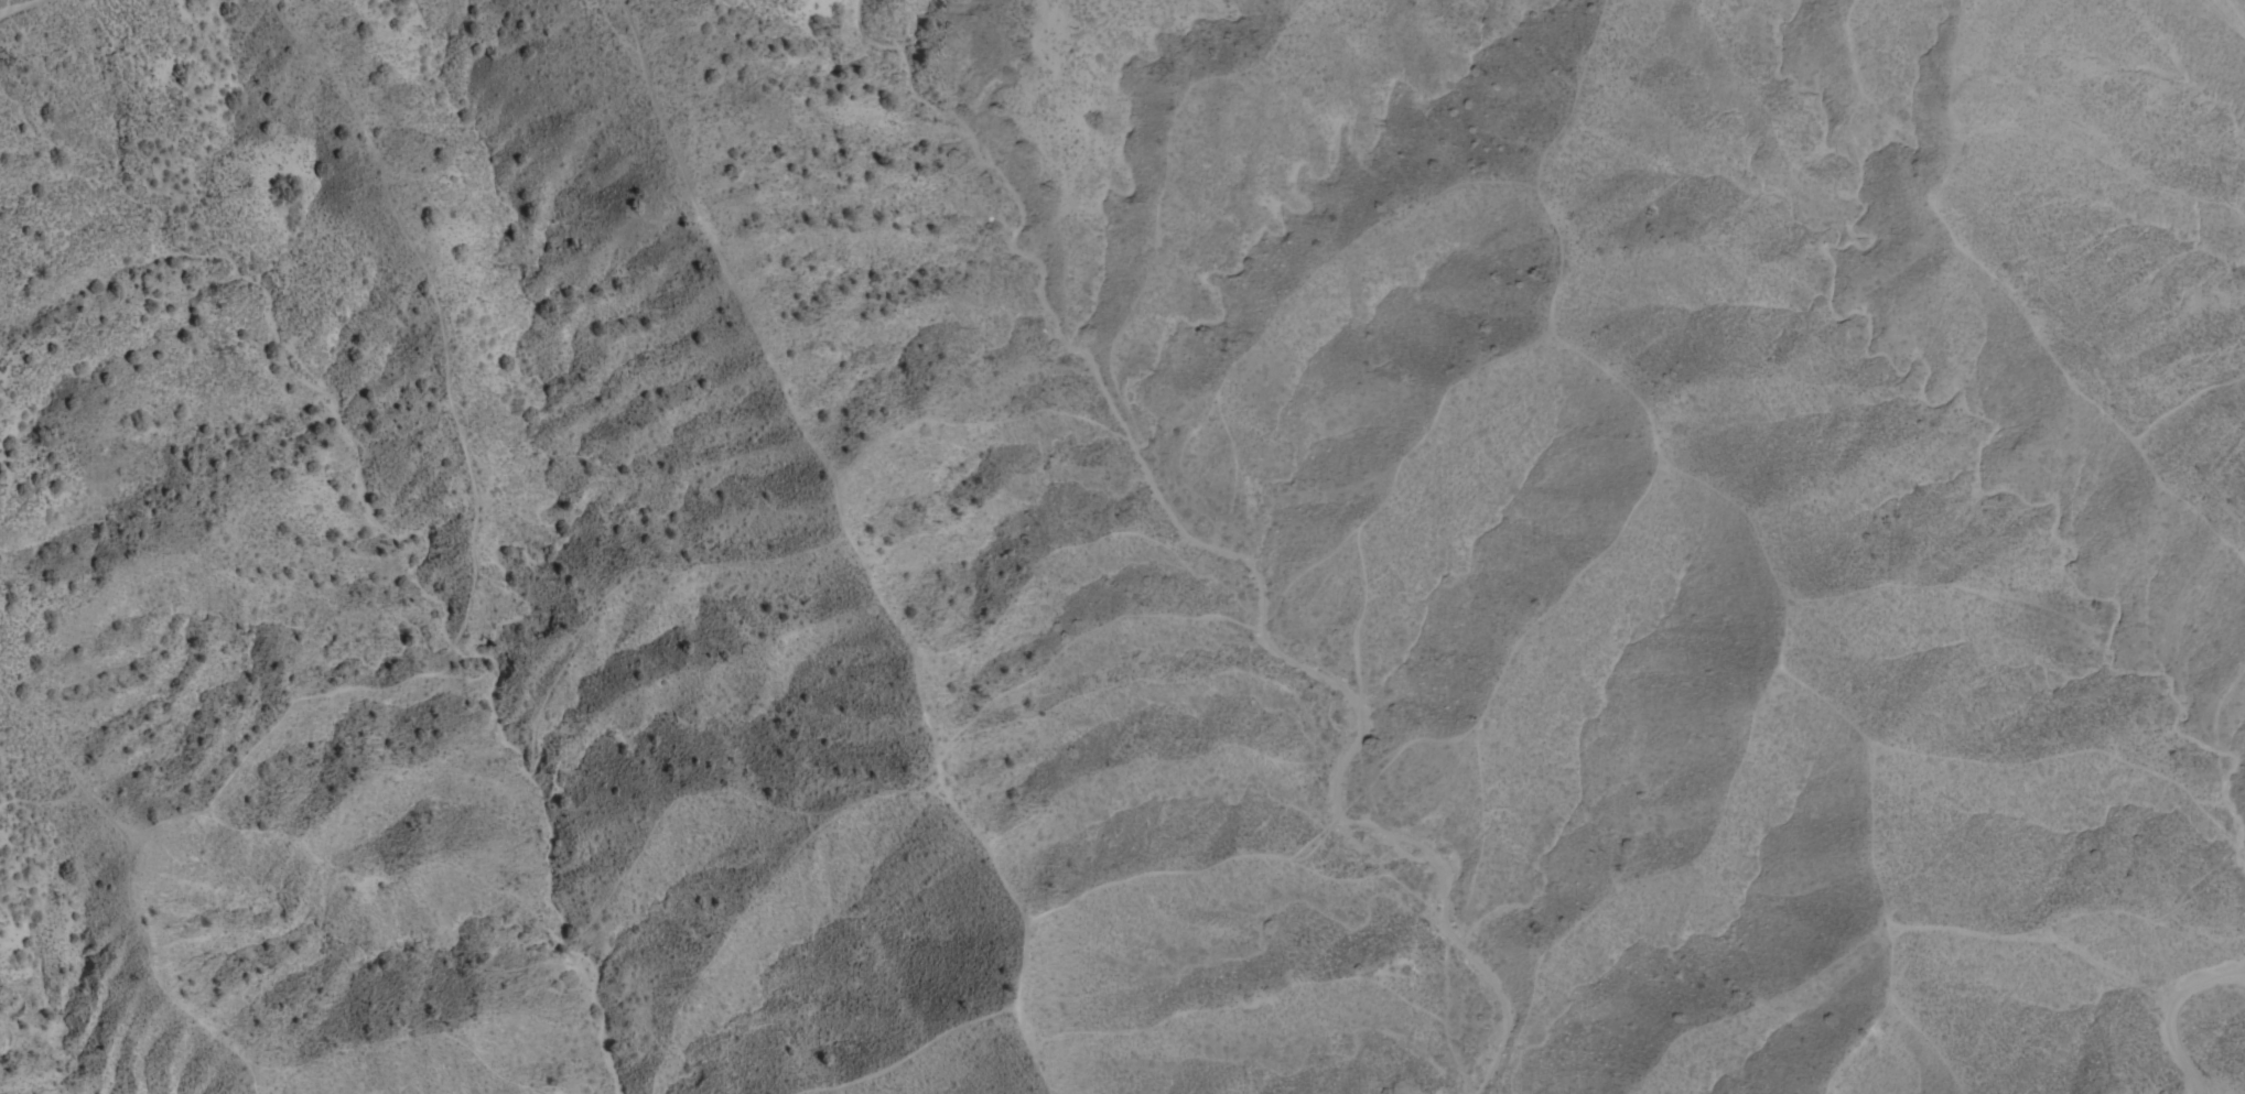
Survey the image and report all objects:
road: (2176, 1017)

